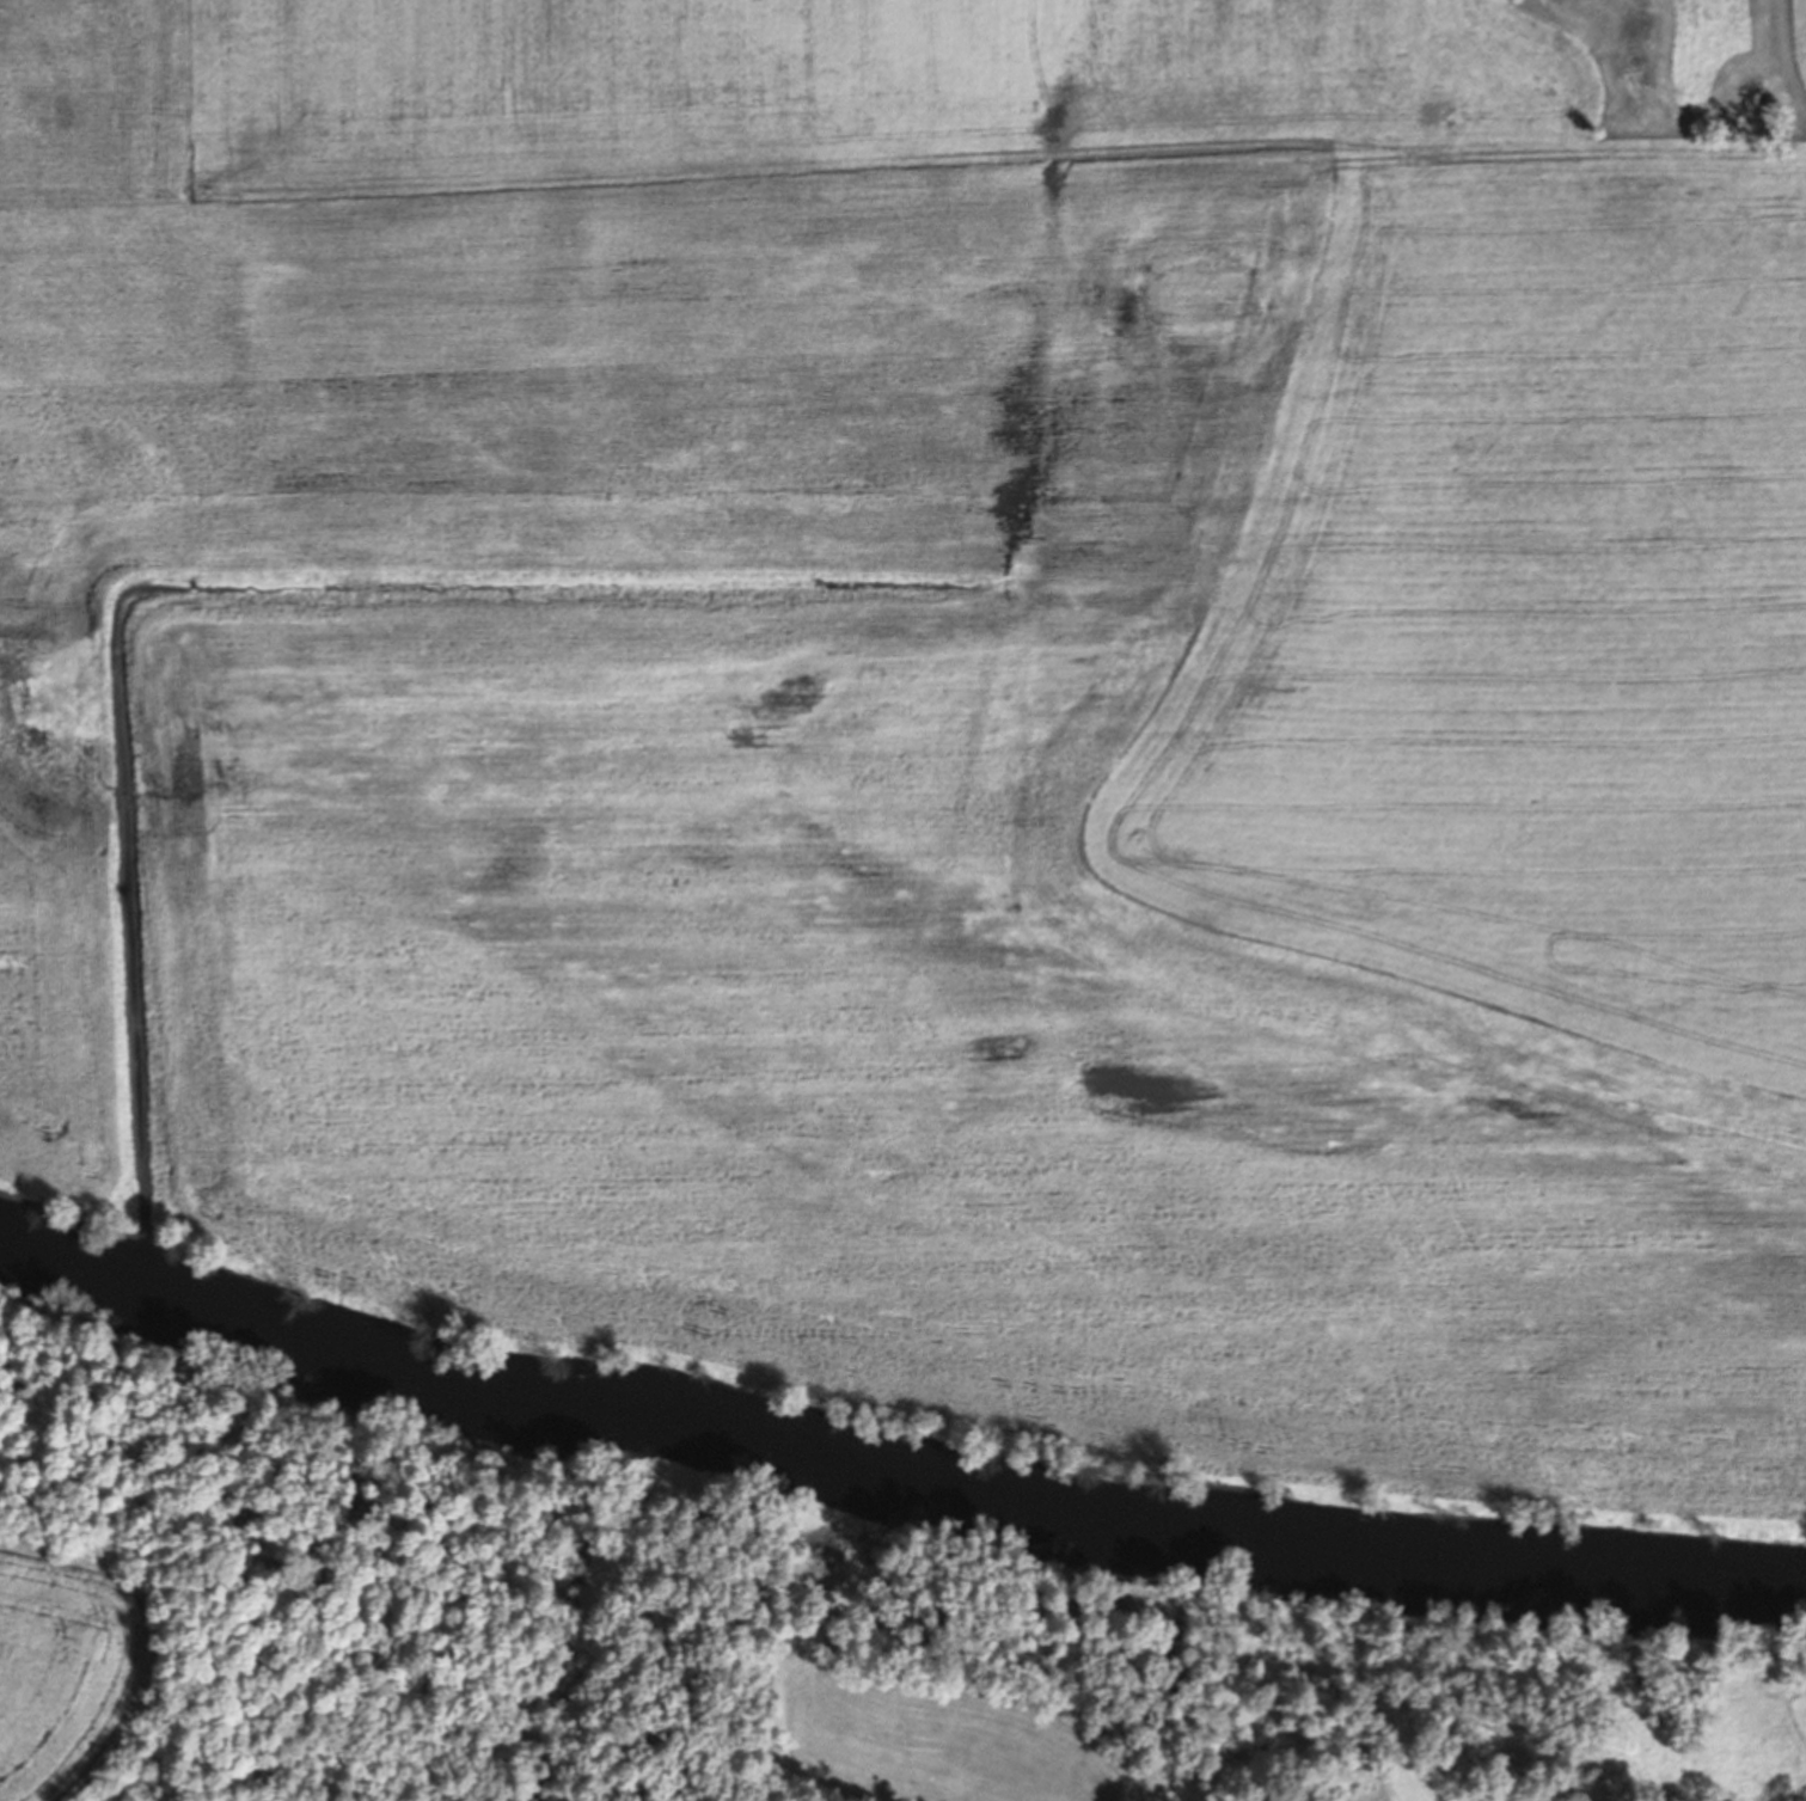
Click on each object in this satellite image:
road: (1804, 27)
river: (889, 1478)
road: (596, 1676)

